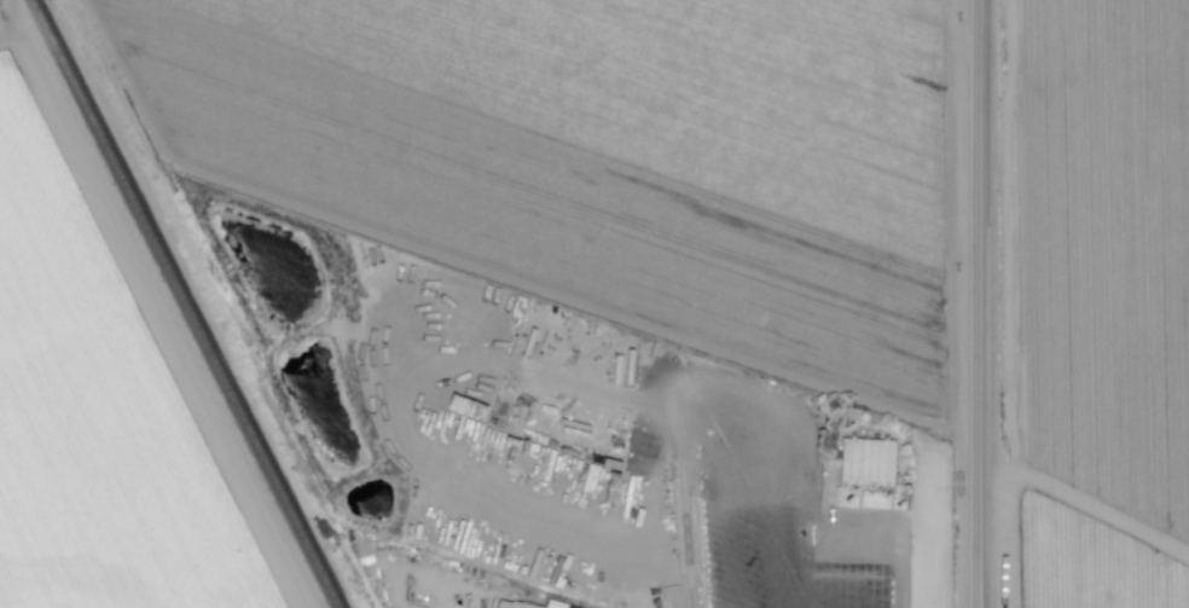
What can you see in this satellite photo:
road: (967, 4)
crop: (1123, 27)
crop: (607, 146)
crop: (1103, 164)
crop: (46, 231)
railway: (185, 303)
road: (979, 303)
crop: (1104, 395)
building: (871, 462)
crop: (109, 477)
parking lot: (934, 529)
road: (935, 537)
crop: (1092, 561)
road: (777, 562)
parking lot: (785, 564)
crop: (244, 592)
building: (514, 604)

